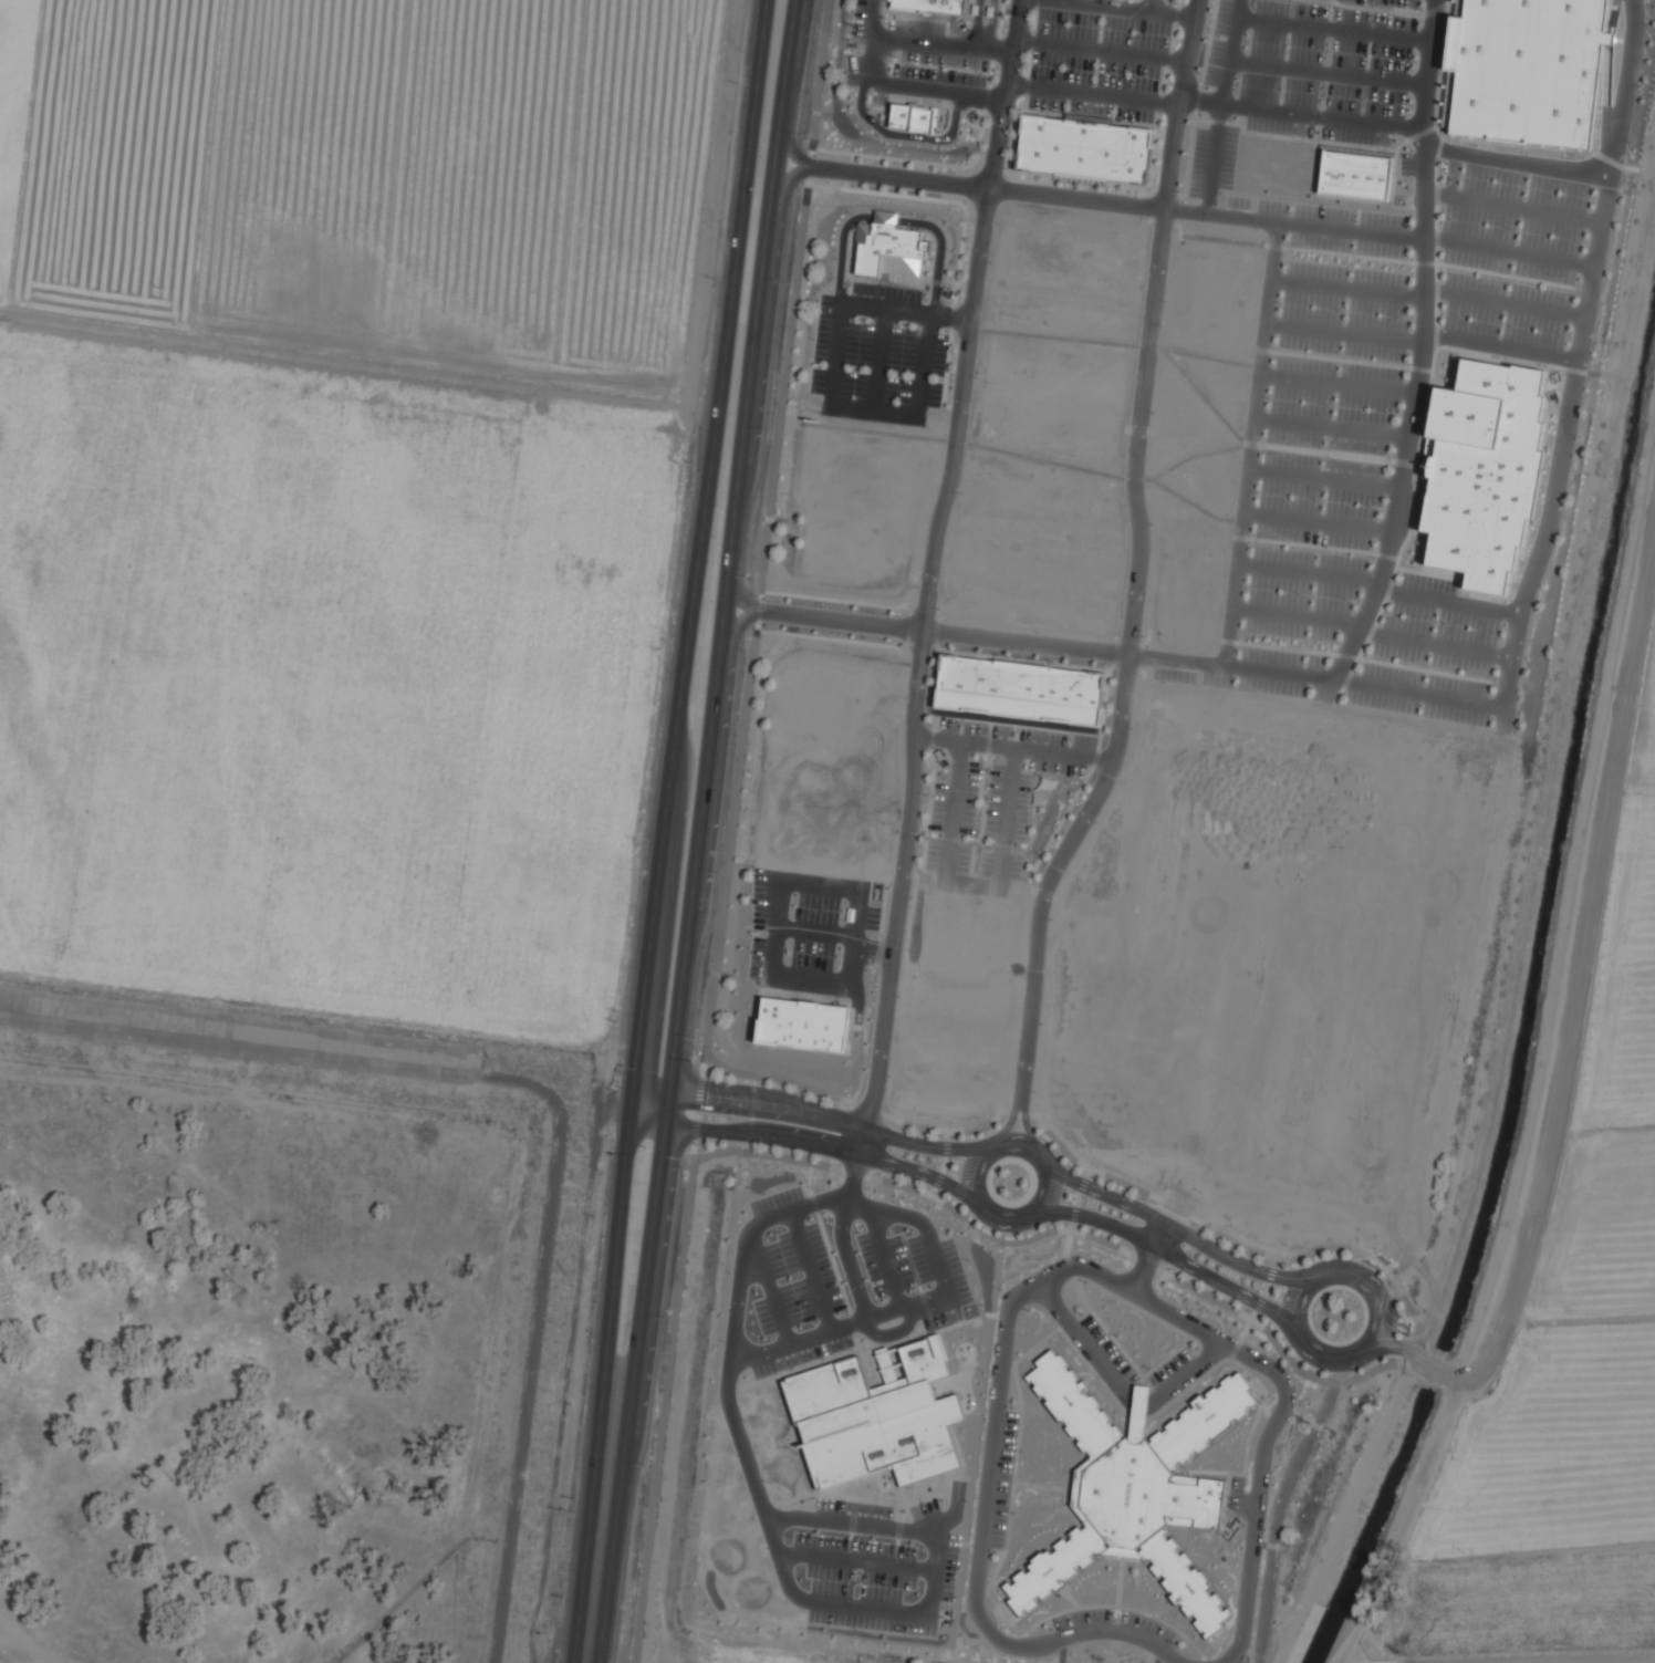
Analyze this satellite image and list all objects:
building: (931, 6)
road: (1131, 8)
road: (976, 24)
road: (989, 25)
road: (922, 44)
road: (1103, 50)
parking lot: (1099, 65)
building: (1523, 71)
road: (1634, 81)
road: (916, 86)
road: (1095, 93)
road: (1182, 105)
road: (1227, 107)
building: (913, 116)
road: (1371, 124)
road: (907, 135)
road: (794, 150)
building: (1083, 152)
road: (1518, 164)
building: (1351, 176)
road: (791, 179)
road: (985, 187)
parking lot: (1238, 207)
road: (1515, 208)
road: (1295, 226)
building: (888, 249)
road: (941, 251)
road: (844, 252)
road: (1511, 252)
parking lot: (1512, 252)
road: (1430, 295)
road: (907, 312)
road: (972, 315)
road: (1423, 342)
parking lot: (879, 346)
road: (836, 360)
road: (878, 362)
road: (922, 368)
road: (1339, 385)
road: (871, 413)
road: (1411, 426)
road: (1332, 429)
parking lot: (1325, 441)
road: (1252, 445)
road: (1565, 448)
building: (1484, 471)
road: (1325, 479)
crop: (339, 492)
road: (1320, 523)
road: (1310, 573)
road: (741, 599)
road: (1448, 602)
road: (839, 621)
road: (740, 624)
road: (1372, 631)
road: (1028, 643)
parking lot: (1430, 654)
road: (1130, 662)
parking lot: (1193, 673)
road: (1319, 677)
building: (1017, 694)
road: (666, 830)
road: (701, 832)
road: (901, 894)
road: (1576, 986)
building: (801, 1026)
traffic signals: (635, 1089)
traffic signals: (672, 1093)
dam: (532, 1095)
road: (811, 1114)
traffic signals: (631, 1124)
road: (1009, 1126)
traffic signals: (667, 1127)
road: (1028, 1131)
road: (813, 1146)
road: (977, 1197)
road: (1174, 1226)
road: (1169, 1254)
road: (1149, 1257)
road: (850, 1260)
road: (916, 1308)
road: (1393, 1314)
road: (1365, 1345)
road: (1380, 1345)
parking lot: (1106, 1352)
crop: (1571, 1362)
parking lot: (1173, 1372)
road: (1121, 1390)
building: (873, 1430)
road: (1269, 1435)
parking lot: (1000, 1480)
building: (1134, 1489)
road: (987, 1499)
road: (771, 1526)
parking lot: (1115, 1626)

